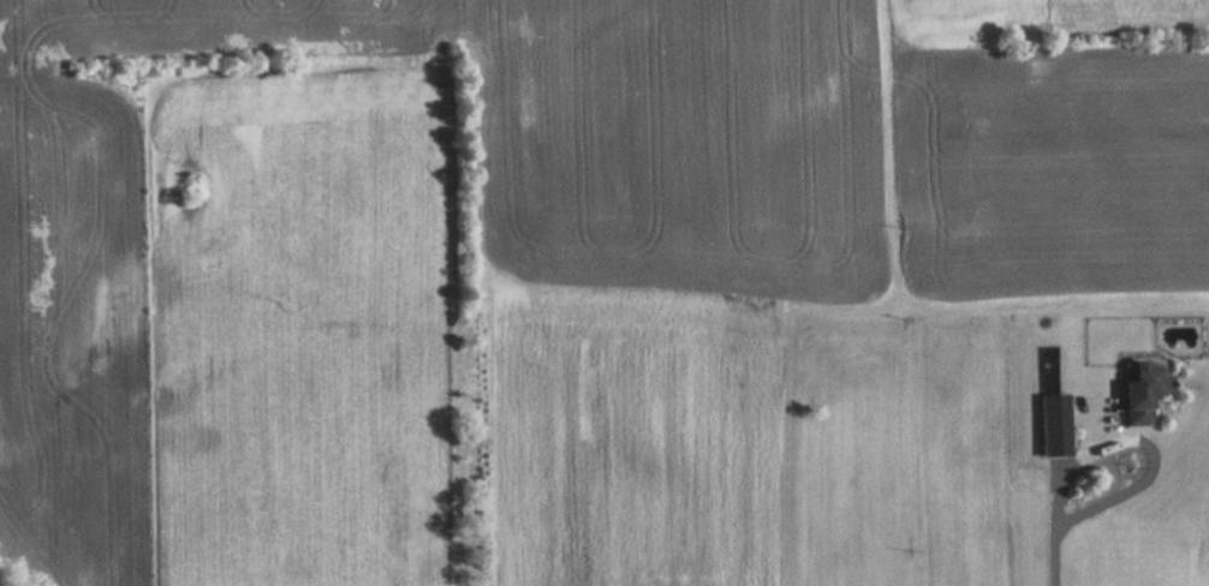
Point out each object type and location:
crop: (75, 330)
building: (1102, 406)
road: (1137, 439)
road: (1052, 554)

